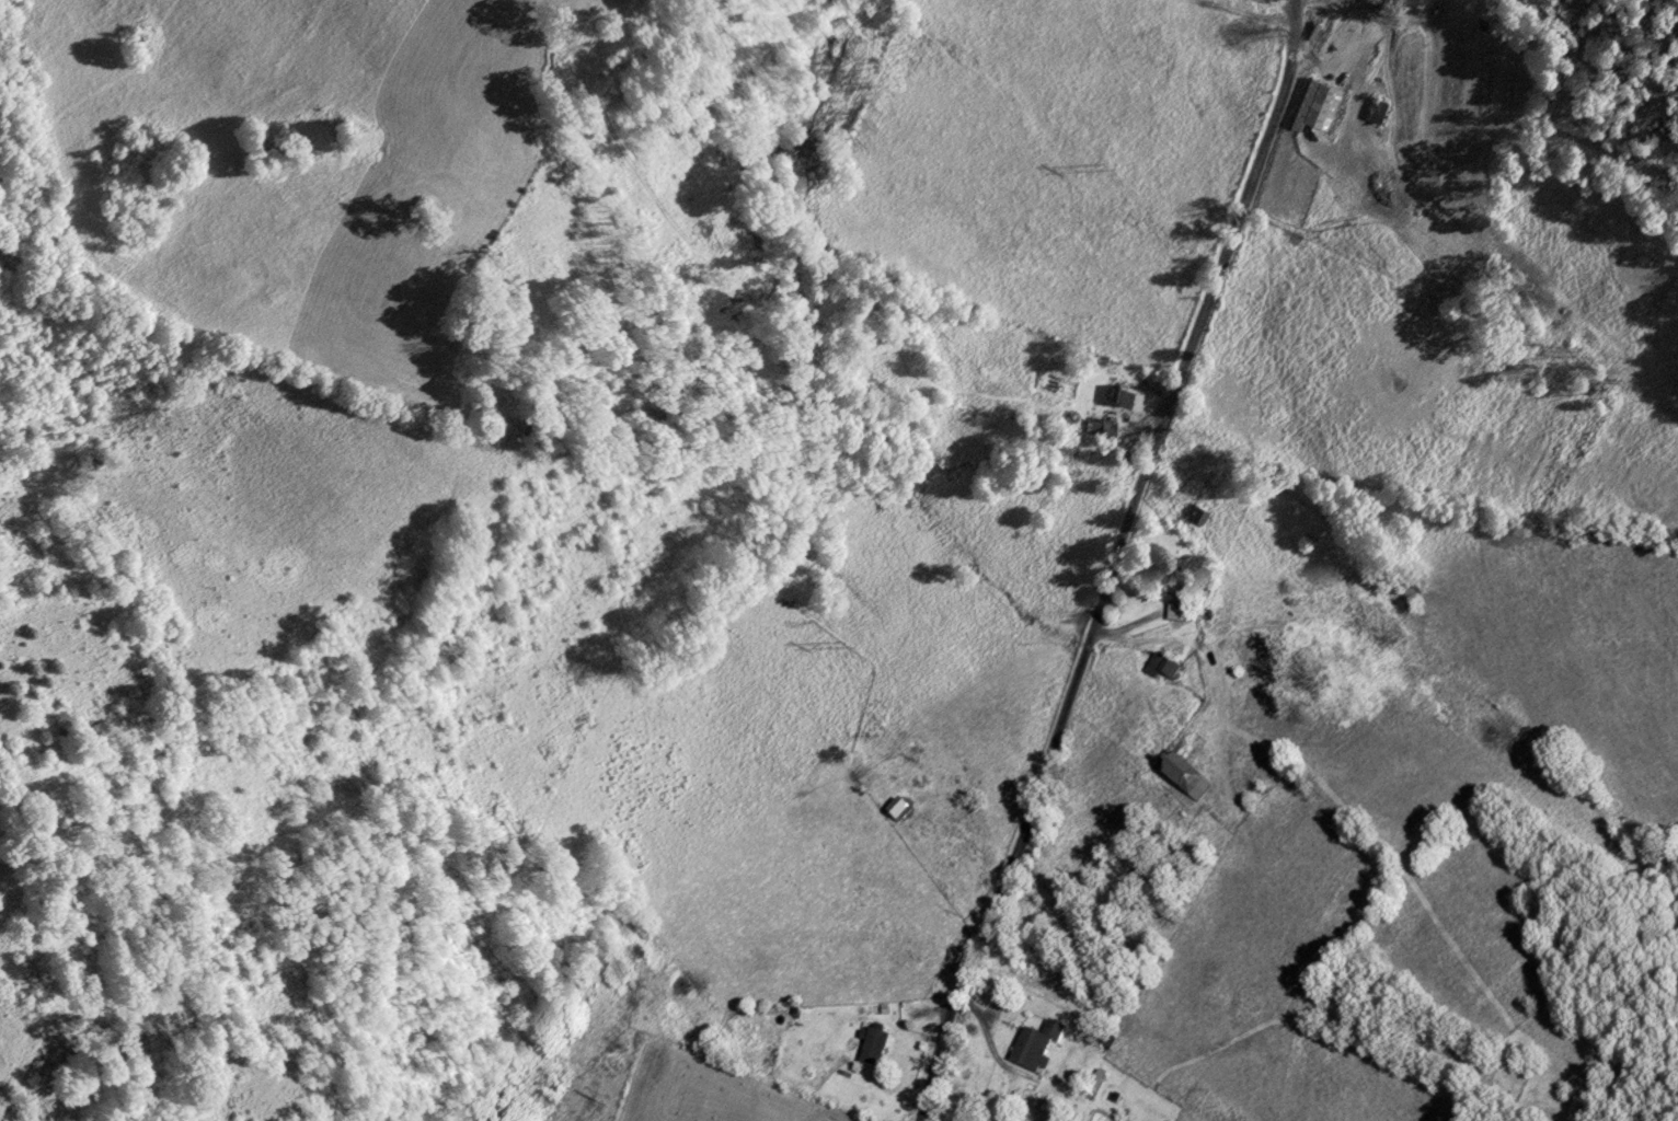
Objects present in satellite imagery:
building: (1395, 2)
building: (1376, 112)
building: (1382, 198)
building: (1128, 396)
building: (1198, 517)
road: (1116, 562)
building: (1175, 585)
building: (1176, 612)
building: (1161, 668)
building: (1183, 778)
building: (896, 810)
building: (1035, 1050)
building: (874, 1051)
building: (1056, 1107)

